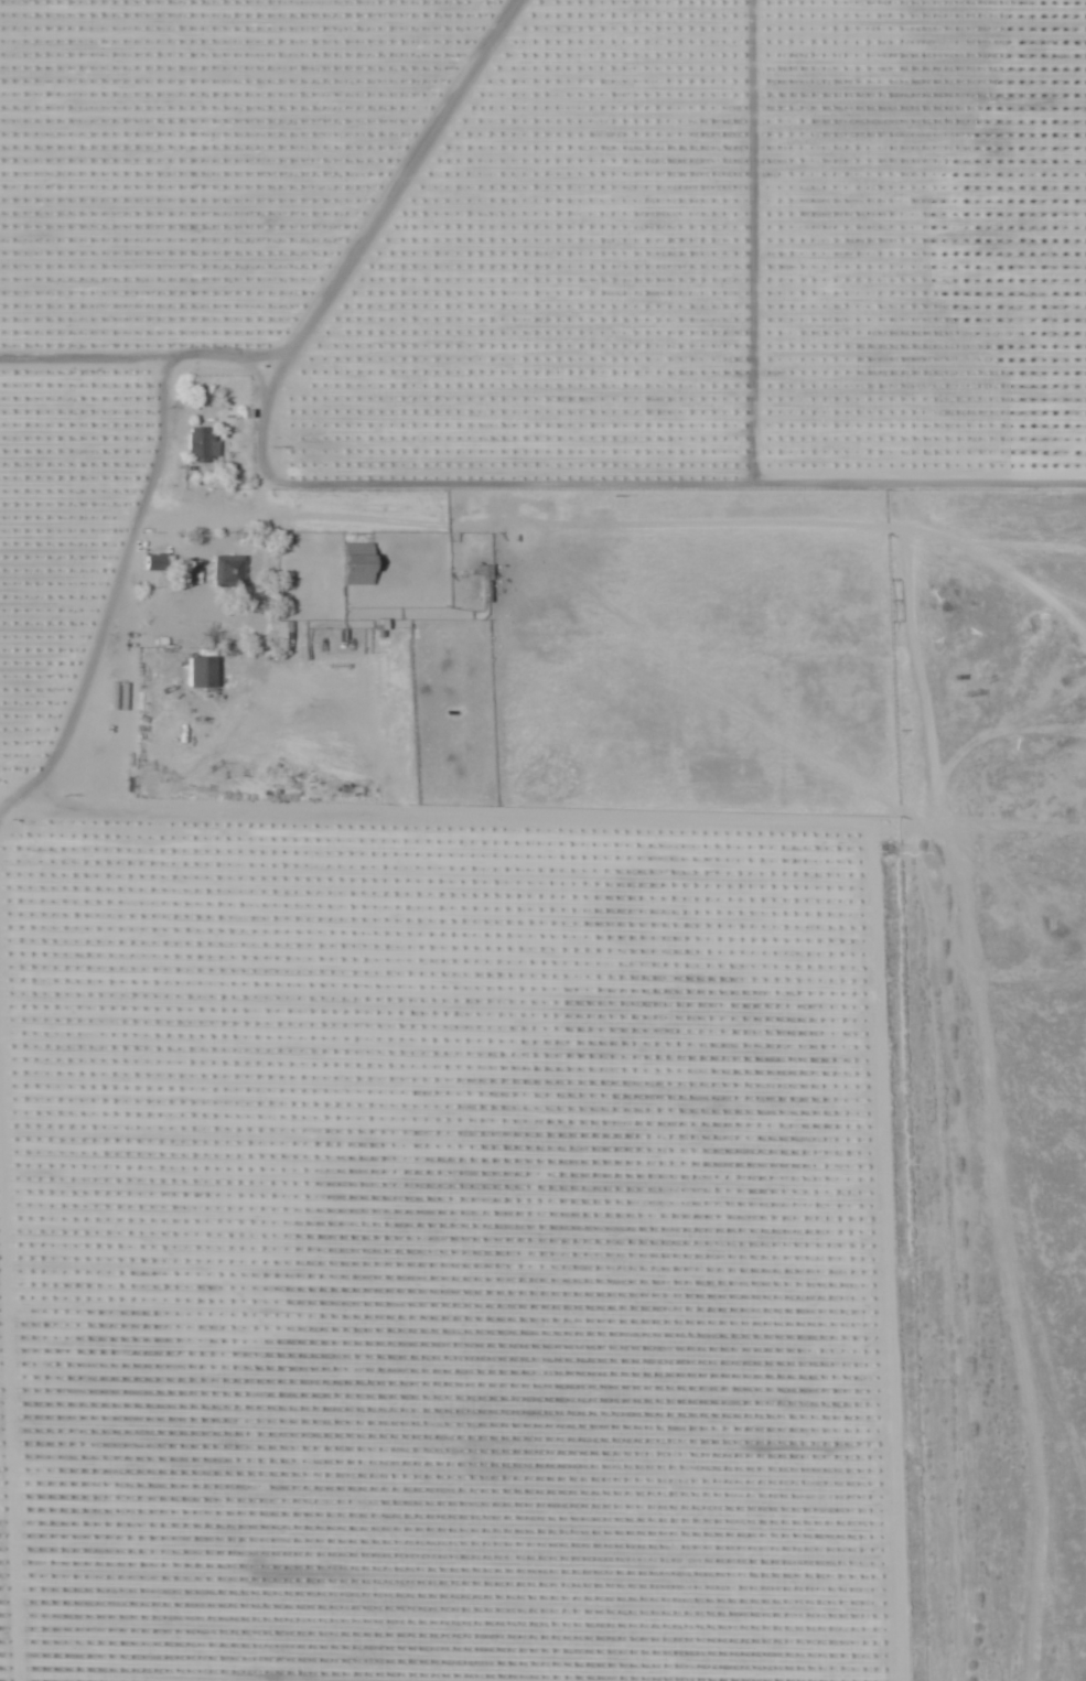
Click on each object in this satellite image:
crop: (520, 249)
building: (200, 444)
building: (416, 504)
building: (151, 564)
building: (227, 573)
building: (482, 585)
building: (281, 636)
building: (197, 674)
road: (944, 866)
crop: (451, 1261)

